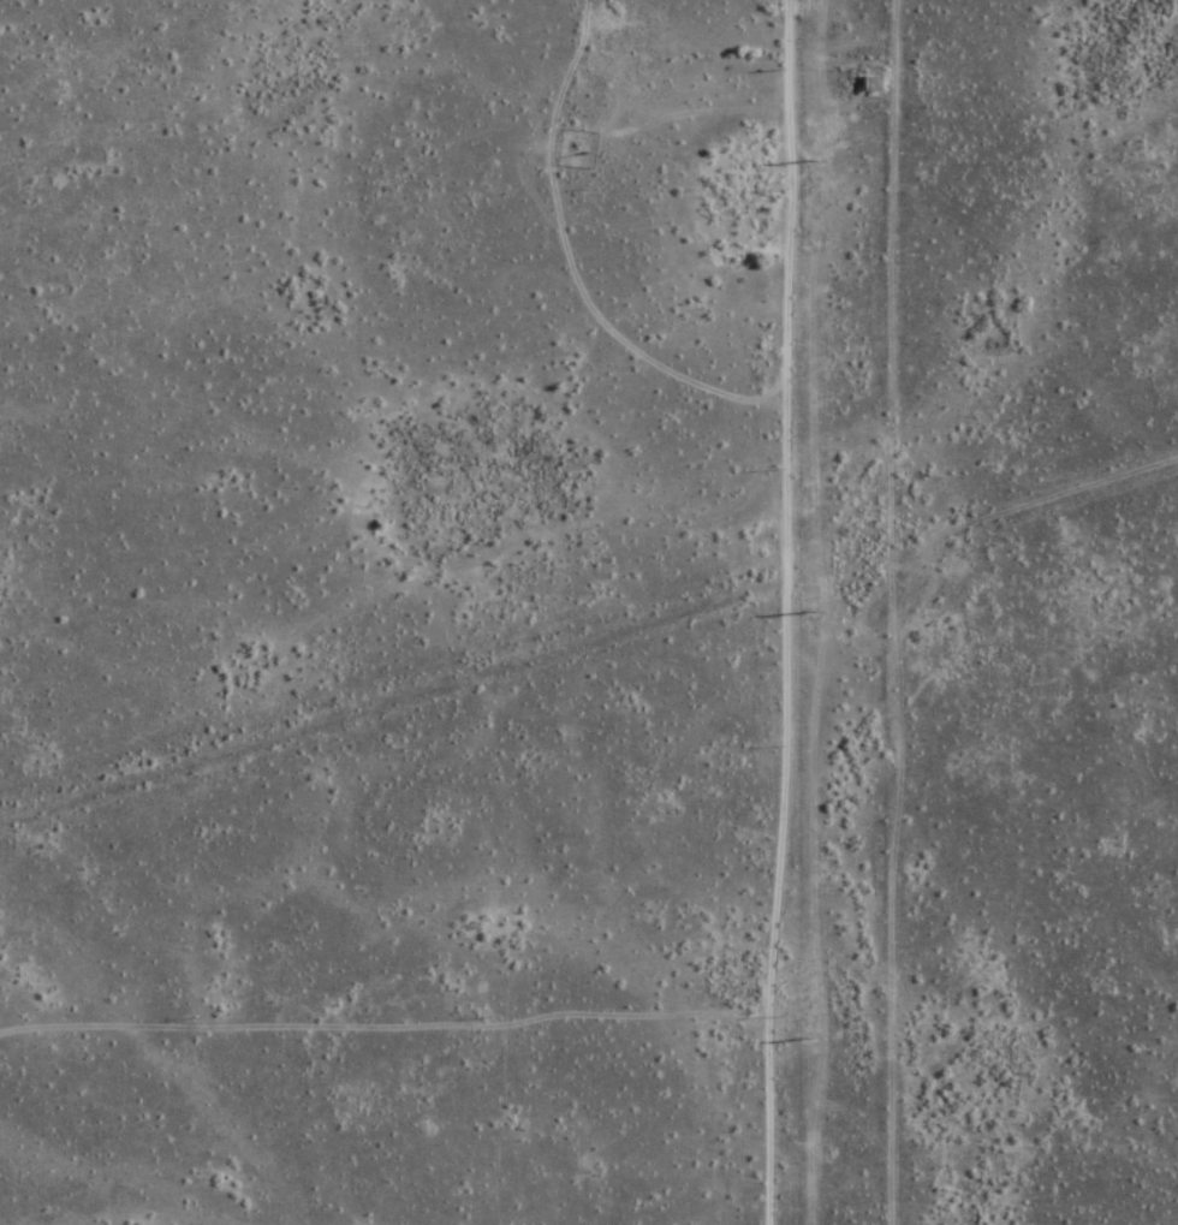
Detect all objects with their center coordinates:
power tower: (807, 160)
power tower: (807, 613)
power tower: (807, 1040)

